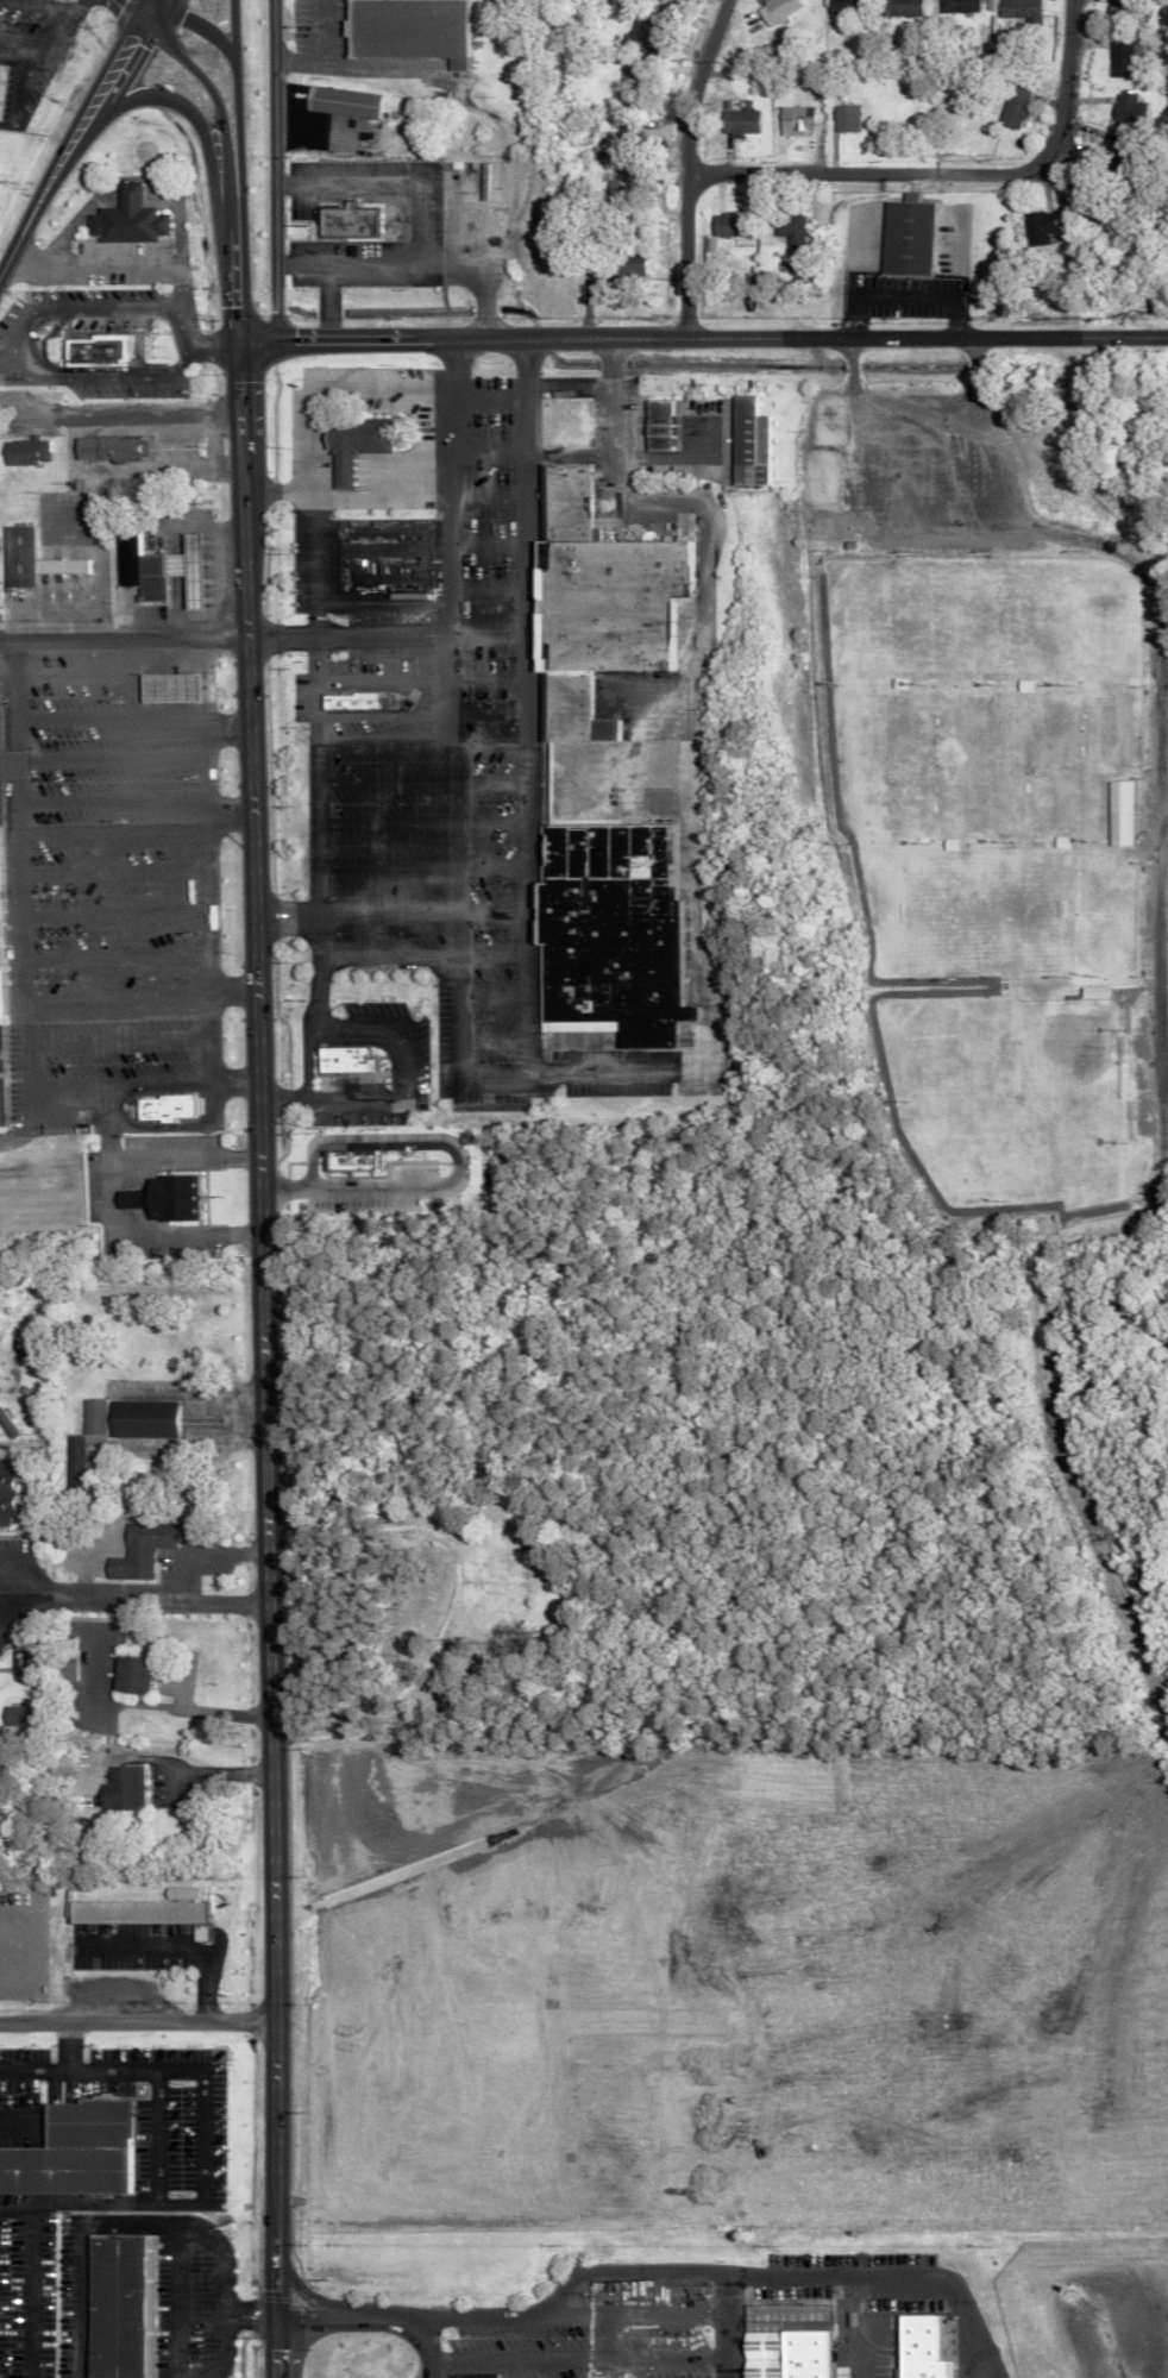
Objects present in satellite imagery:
building: (659, 0)
building: (1114, 5)
building: (836, 6)
building: (902, 7)
building: (955, 7)
road: (136, 8)
building: (1013, 8)
building: (774, 10)
road: (200, 24)
building: (404, 29)
building: (1120, 57)
road: (325, 59)
building: (341, 101)
building: (1012, 107)
building: (1128, 108)
road: (188, 117)
building: (793, 117)
building: (843, 118)
road: (218, 119)
building: (739, 120)
road: (233, 127)
road: (77, 133)
road: (315, 134)
road: (686, 165)
road: (274, 168)
road: (949, 177)
road: (126, 182)
building: (622, 182)
building: (125, 218)
building: (347, 221)
building: (729, 224)
building: (1040, 224)
road: (417, 227)
building: (789, 230)
building: (904, 238)
road: (107, 264)
road: (472, 278)
road: (325, 300)
road: (26, 313)
road: (2, 333)
road: (702, 338)
building: (100, 345)
road: (447, 362)
road: (328, 389)
road: (885, 400)
road: (24, 421)
building: (658, 422)
road: (991, 429)
road: (607, 439)
building: (748, 441)
building: (351, 444)
road: (69, 447)
building: (111, 447)
building: (23, 451)
road: (410, 479)
road: (451, 519)
road: (1109, 542)
building: (29, 558)
gas station: (172, 567)
road: (312, 569)
building: (158, 570)
road: (213, 575)
road: (521, 589)
building: (604, 606)
road: (93, 611)
road: (280, 635)
road: (123, 636)
building: (174, 682)
road: (12, 689)
building: (348, 694)
road: (130, 720)
building: (14, 760)
road: (13, 761)
park: (987, 776)
road: (131, 801)
building: (1125, 812)
building: (0, 814)
road: (207, 902)
road: (313, 902)
road: (282, 917)
road: (525, 921)
building: (617, 931)
building: (4, 947)
road: (451, 987)
road: (137, 992)
building: (4, 1021)
road: (24, 1050)
road: (301, 1052)
building: (347, 1055)
building: (4, 1075)
park: (1036, 1079)
road: (327, 1099)
building: (164, 1108)
road: (428, 1140)
building: (357, 1156)
road: (144, 1162)
building: (163, 1199)
road: (1125, 1223)
road: (149, 1235)
road: (257, 1316)
building: (127, 1419)
building: (7, 1425)
building: (74, 1457)
road: (1067, 1483)
building: (5, 1494)
building: (139, 1551)
building: (505, 1577)
road: (131, 1593)
road: (353, 1594)
building: (67, 1665)
building: (128, 1676)
road: (147, 1702)
building: (12, 1714)
road: (193, 1768)
building: (118, 1790)
building: (137, 1908)
road: (174, 1949)
road: (137, 2021)
road: (56, 2066)
road: (158, 2091)
building: (544, 2115)
building: (71, 2150)
road: (102, 2211)
road: (722, 2273)
building: (115, 2305)
road: (246, 2309)
road: (373, 2315)
road: (722, 2326)
building: (670, 2334)
building: (781, 2341)
building: (919, 2347)
road: (215, 2349)
parking lot: (573, 2349)

